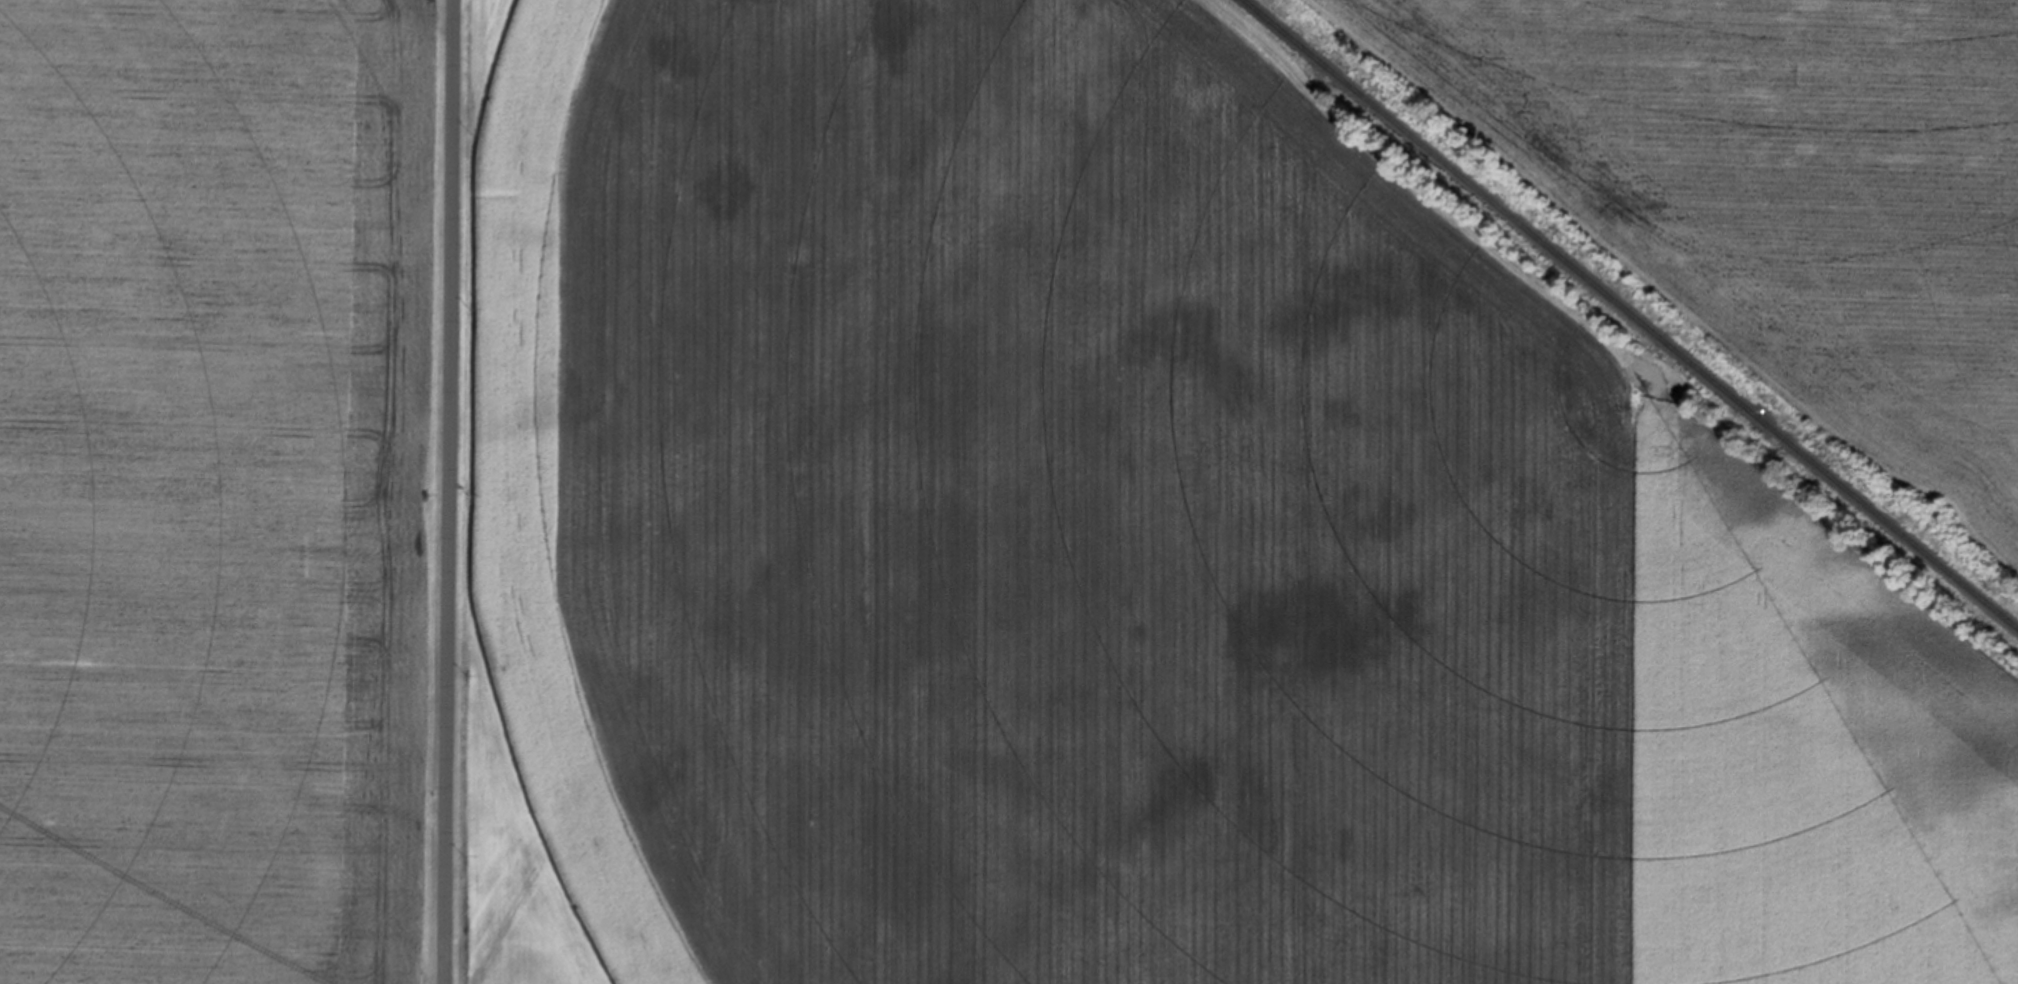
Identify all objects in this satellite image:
railway: (1630, 315)
road: (448, 492)

